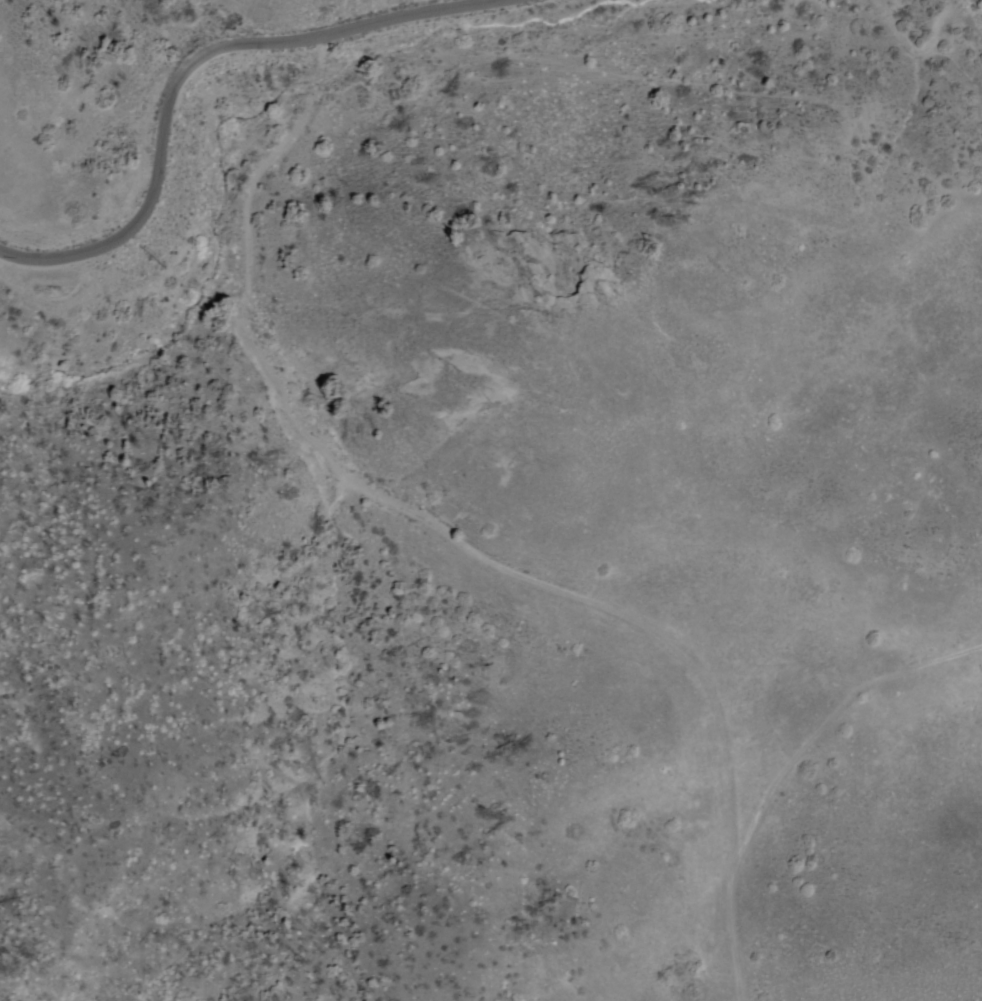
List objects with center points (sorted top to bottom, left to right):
road: (165, 79)

